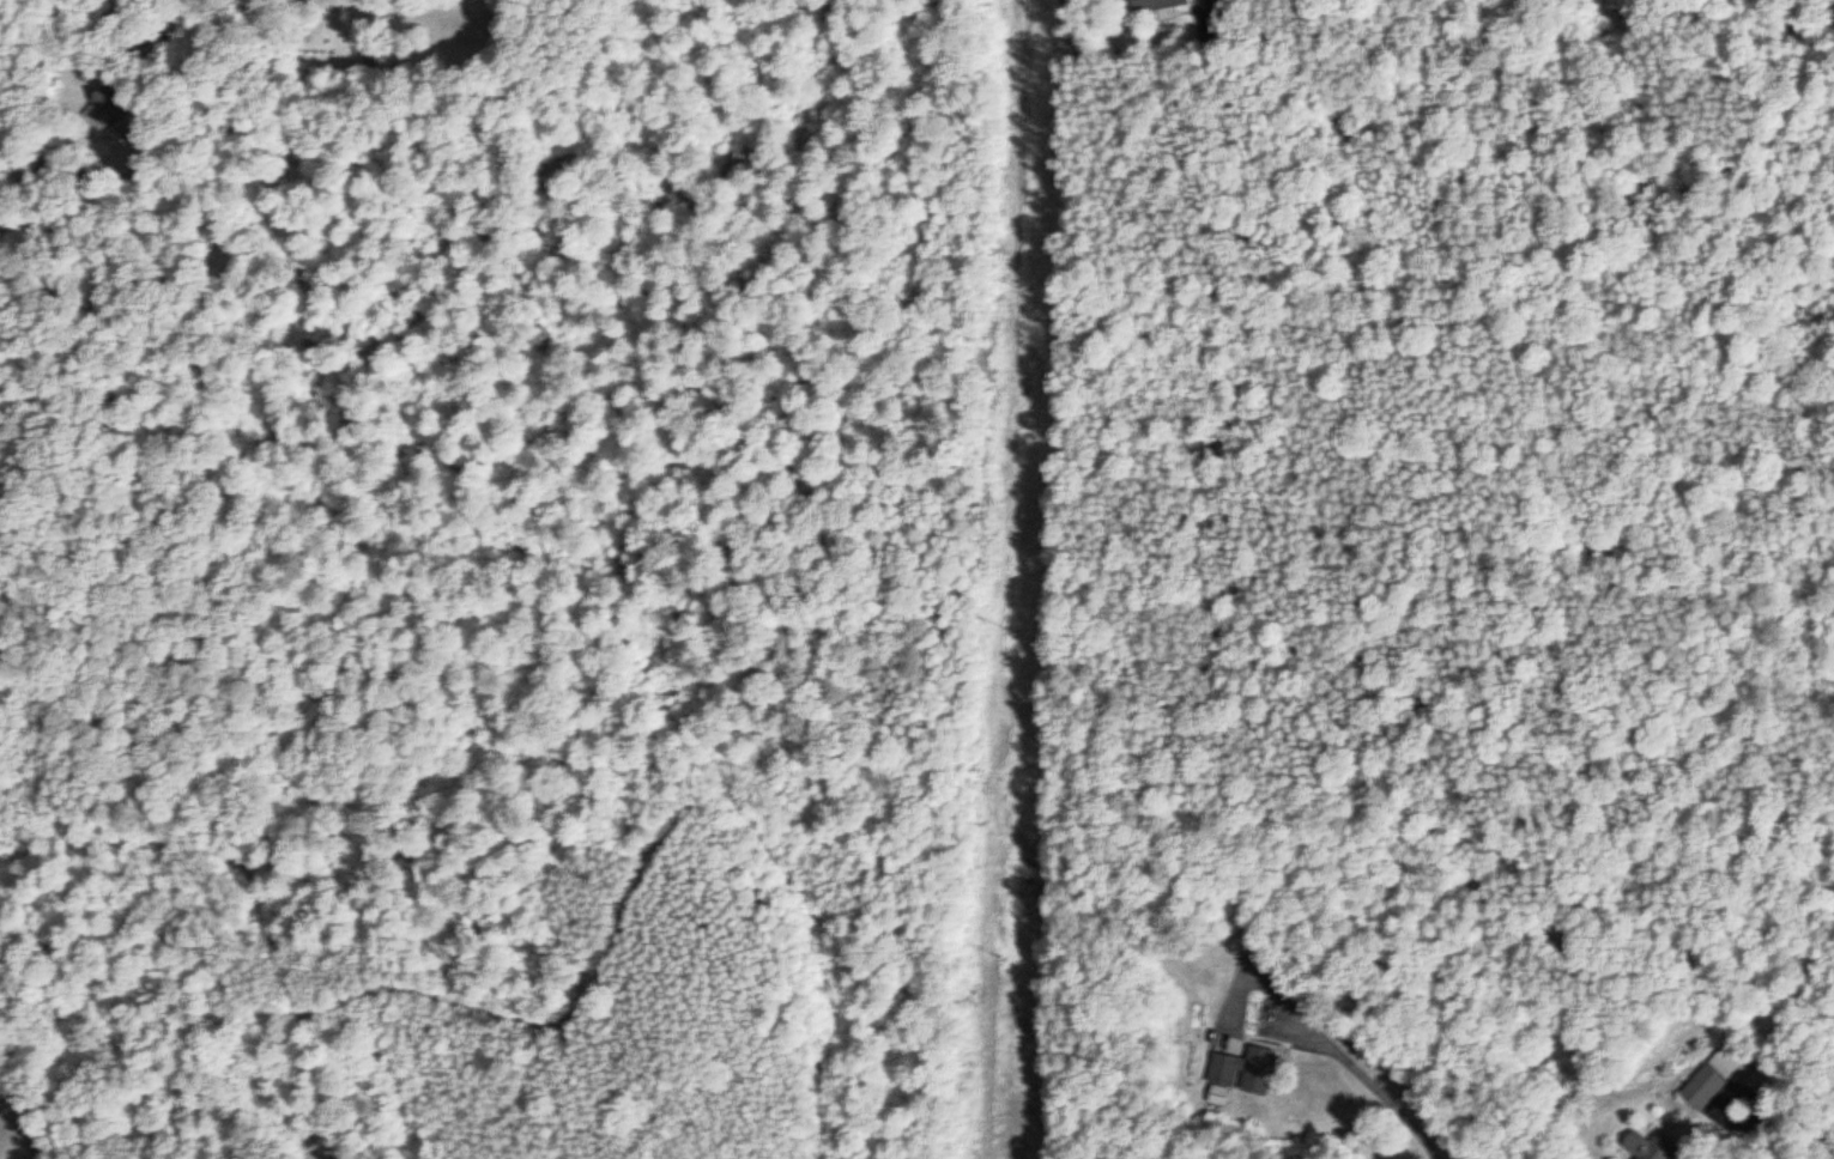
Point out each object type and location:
building: (1151, 5)
building: (1239, 1070)
building: (1640, 1147)

